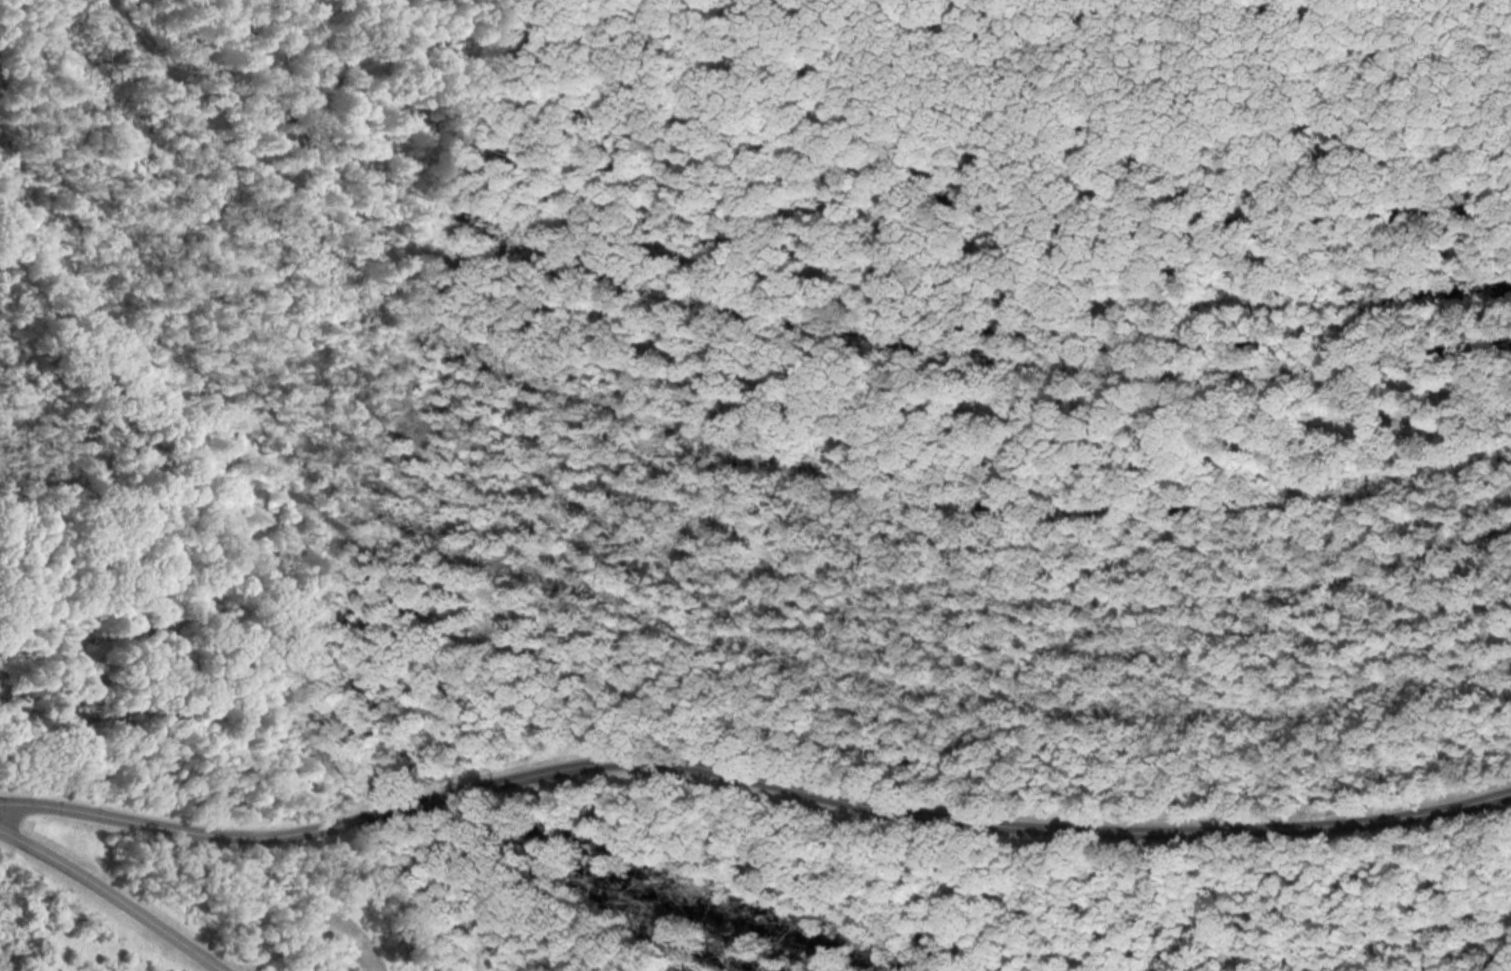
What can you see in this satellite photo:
road: (753, 778)
road: (118, 894)

